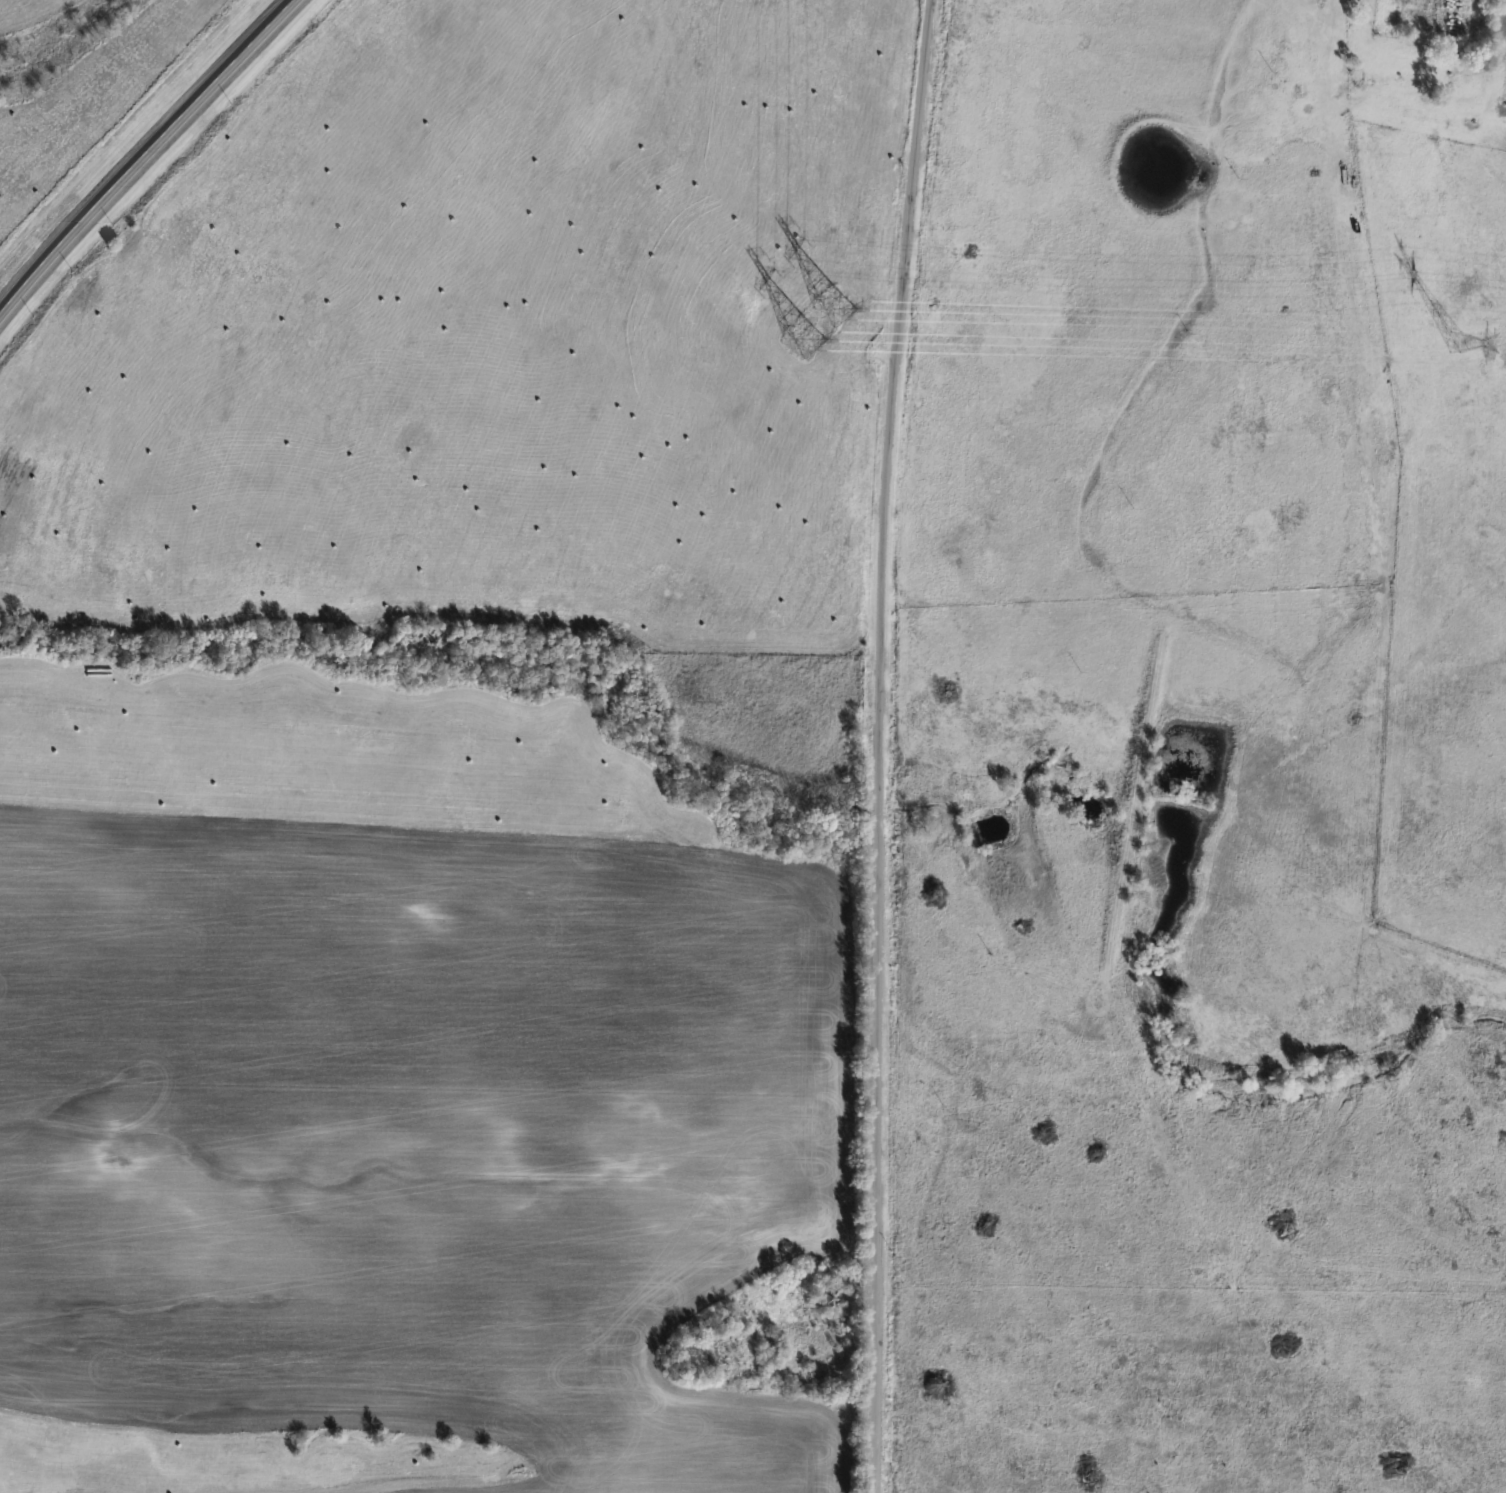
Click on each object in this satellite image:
road: (143, 153)
power tower: (818, 324)
power tower: (1455, 344)
road: (881, 745)

